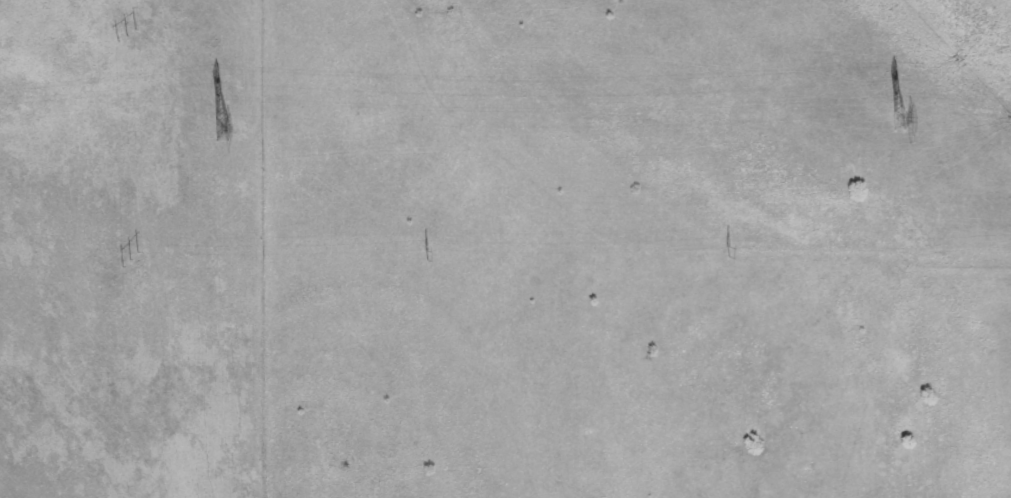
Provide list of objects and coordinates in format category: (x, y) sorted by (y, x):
power tower: (895, 121)
power tower: (220, 128)

